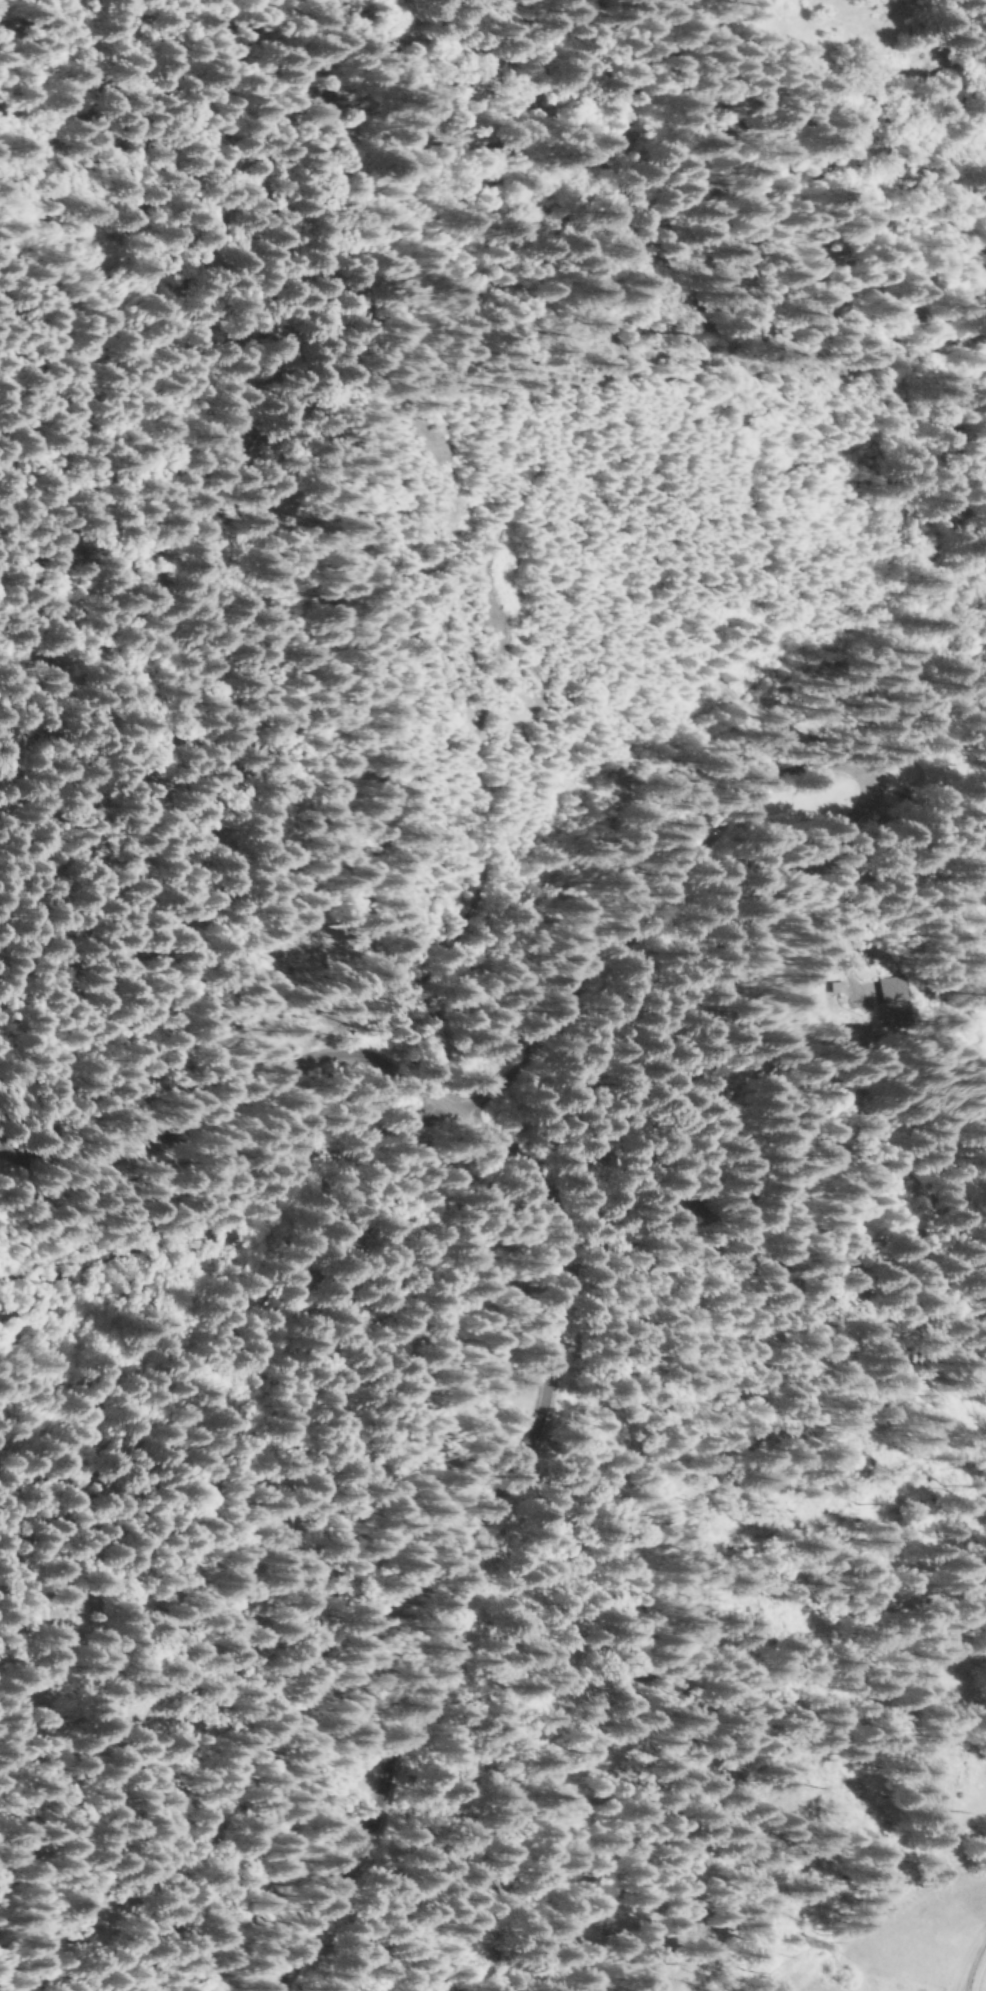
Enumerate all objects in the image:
road: (738, 789)
road: (232, 1099)
road: (234, 1214)
road: (461, 1542)
road: (871, 1910)
road: (965, 1953)

